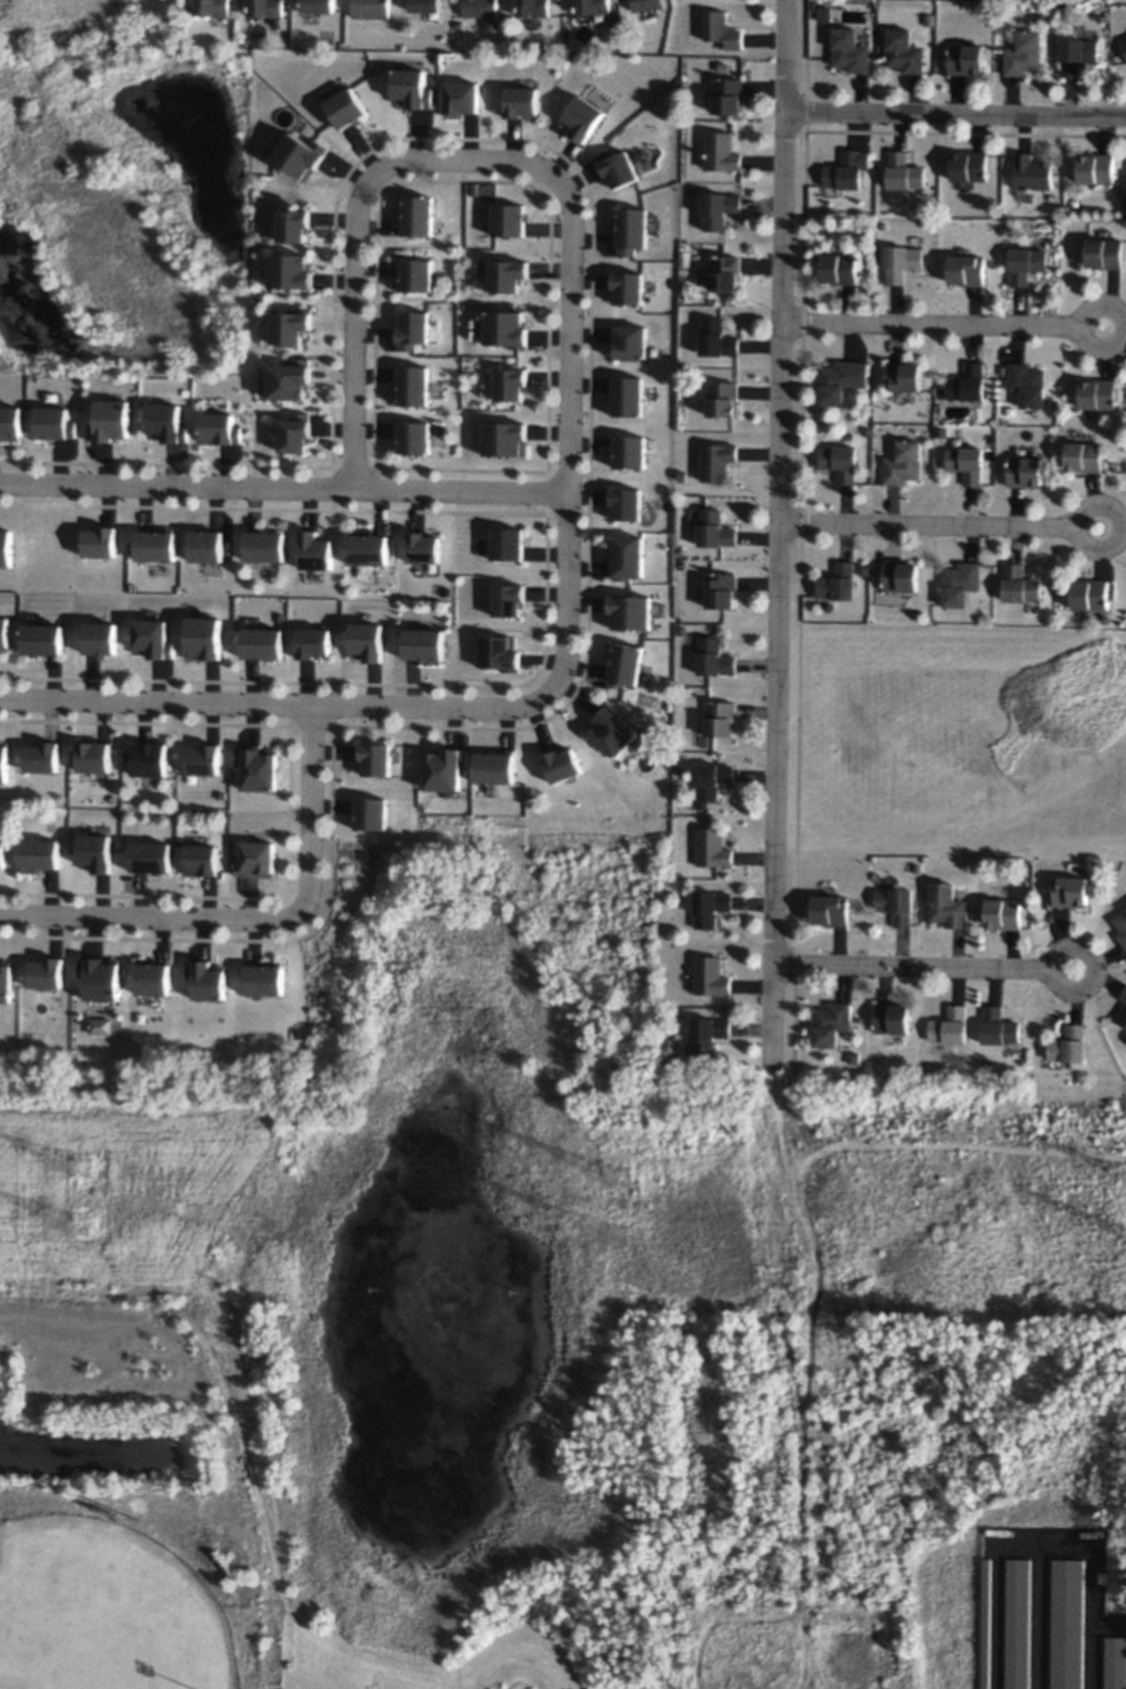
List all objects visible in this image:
building: (647, 4)
building: (425, 6)
building: (211, 7)
building: (591, 7)
building: (265, 8)
building: (370, 8)
building: (532, 8)
building: (481, 10)
building: (721, 29)
building: (1123, 44)
building: (849, 50)
building: (904, 51)
building: (1023, 53)
building: (1075, 54)
building: (965, 59)
building: (411, 88)
building: (727, 95)
building: (461, 98)
building: (521, 101)
building: (346, 108)
road: (957, 113)
building: (580, 117)
building: (721, 151)
building: (299, 155)
building: (969, 166)
building: (617, 168)
building: (1095, 168)
building: (847, 169)
building: (904, 171)
building: (1030, 172)
building: (718, 208)
building: (417, 215)
building: (509, 219)
building: (293, 226)
road: (353, 227)
building: (630, 230)
building: (1103, 252)
building: (901, 262)
building: (1024, 264)
building: (838, 268)
building: (966, 269)
building: (291, 271)
building: (725, 272)
building: (507, 275)
building: (416, 276)
building: (627, 287)
road: (945, 324)
building: (291, 326)
building: (413, 328)
building: (505, 328)
building: (717, 338)
building: (629, 341)
building: (903, 375)
building: (290, 379)
building: (840, 379)
building: (967, 382)
building: (510, 384)
building: (1026, 384)
building: (413, 385)
building: (1097, 394)
building: (628, 396)
building: (724, 398)
building: (110, 420)
building: (10, 423)
building: (53, 423)
building: (167, 423)
building: (220, 428)
building: (296, 431)
building: (413, 437)
building: (505, 438)
road: (566, 439)
building: (629, 451)
building: (1084, 456)
building: (717, 460)
building: (839, 461)
building: (903, 463)
building: (966, 463)
building: (1025, 470)
road: (282, 485)
building: (625, 504)
road: (943, 526)
building: (715, 528)
road: (780, 535)
building: (98, 542)
building: (507, 543)
building: (153, 544)
building: (205, 545)
building: (263, 545)
building: (4, 547)
building: (422, 547)
building: (366, 548)
building: (313, 550)
building: (626, 556)
building: (900, 576)
building: (838, 582)
building: (960, 583)
building: (1020, 584)
building: (720, 589)
building: (1089, 593)
building: (508, 599)
building: (629, 612)
building: (3, 633)
building: (41, 638)
building: (99, 638)
building: (152, 638)
building: (203, 638)
building: (365, 640)
building: (261, 643)
building: (312, 643)
building: (424, 645)
building: (498, 653)
building: (714, 657)
building: (624, 663)
road: (276, 705)
building: (719, 718)
building: (612, 732)
building: (41, 756)
building: (149, 758)
building: (373, 758)
building: (202, 759)
building: (3, 761)
building: (562, 764)
building: (494, 766)
building: (256, 767)
building: (444, 768)
building: (710, 781)
building: (369, 813)
building: (713, 847)
building: (1, 852)
building: (94, 852)
building: (38, 854)
building: (150, 856)
building: (255, 858)
building: (200, 860)
building: (1070, 891)
building: (895, 904)
building: (946, 905)
building: (710, 906)
building: (829, 910)
building: (1003, 913)
road: (255, 921)
building: (1122, 926)
road: (926, 966)
building: (44, 972)
building: (710, 975)
building: (151, 976)
building: (99, 977)
building: (262, 977)
building: (206, 978)
building: (1124, 995)
building: (1123, 1015)
building: (890, 1017)
building: (830, 1023)
building: (99, 1025)
building: (998, 1026)
building: (948, 1027)
building: (708, 1033)
building: (1068, 1044)
power tower: (82, 1159)
power tower: (622, 1168)
power tower: (82, 1220)
power tower: (629, 1232)
park: (107, 1611)
building: (1016, 1623)
building: (1066, 1623)
building: (1115, 1662)

